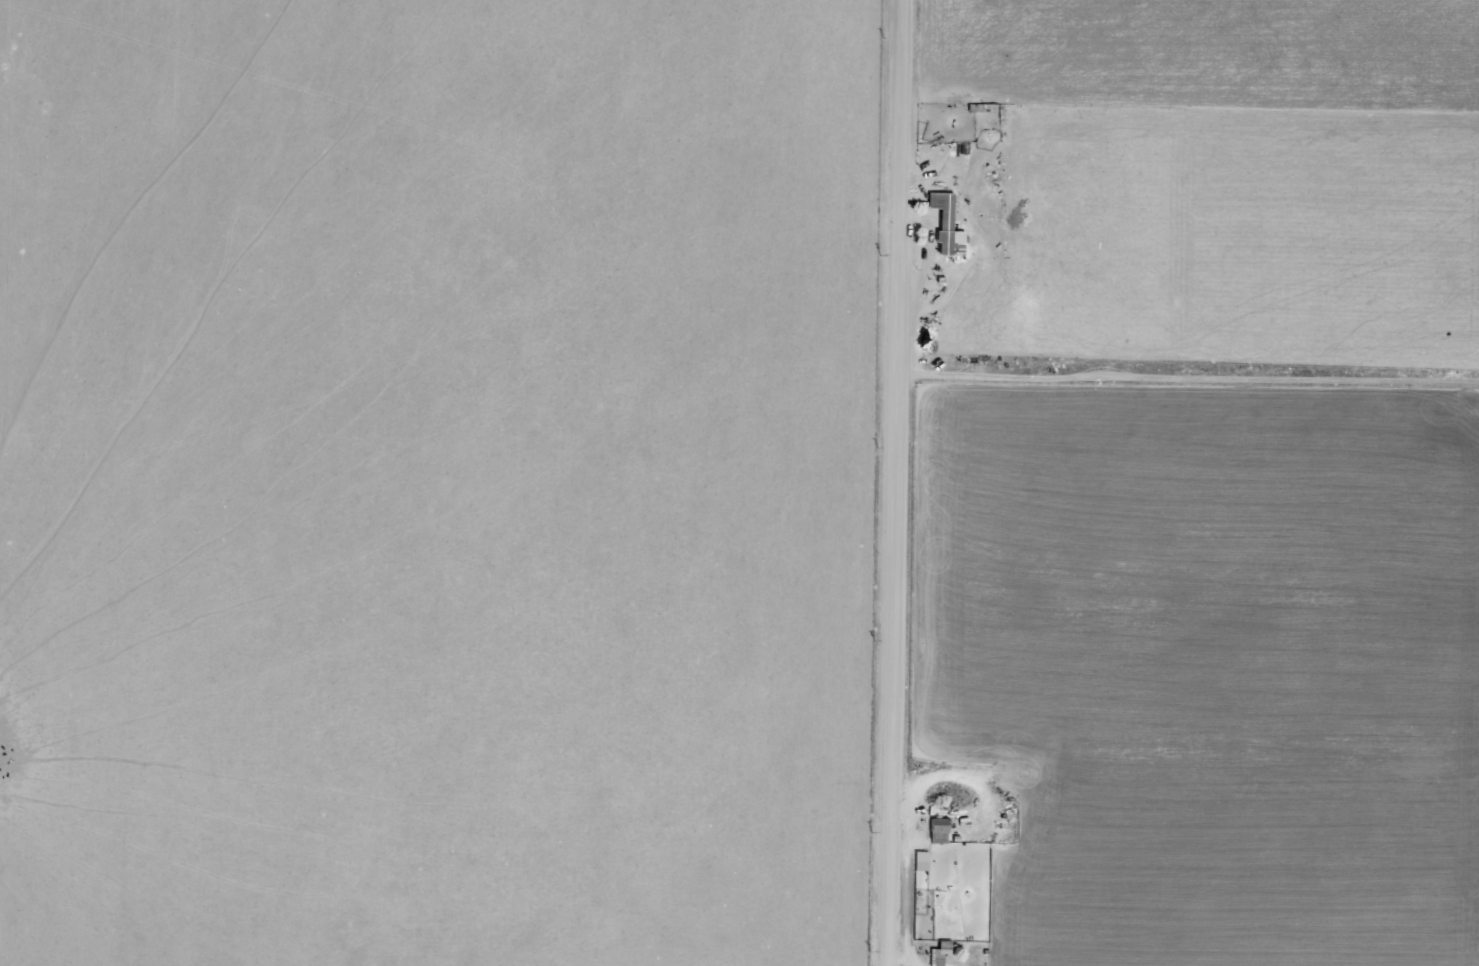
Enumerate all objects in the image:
building: (948, 225)
road: (897, 483)
building: (940, 830)
building: (923, 861)
building: (942, 953)

